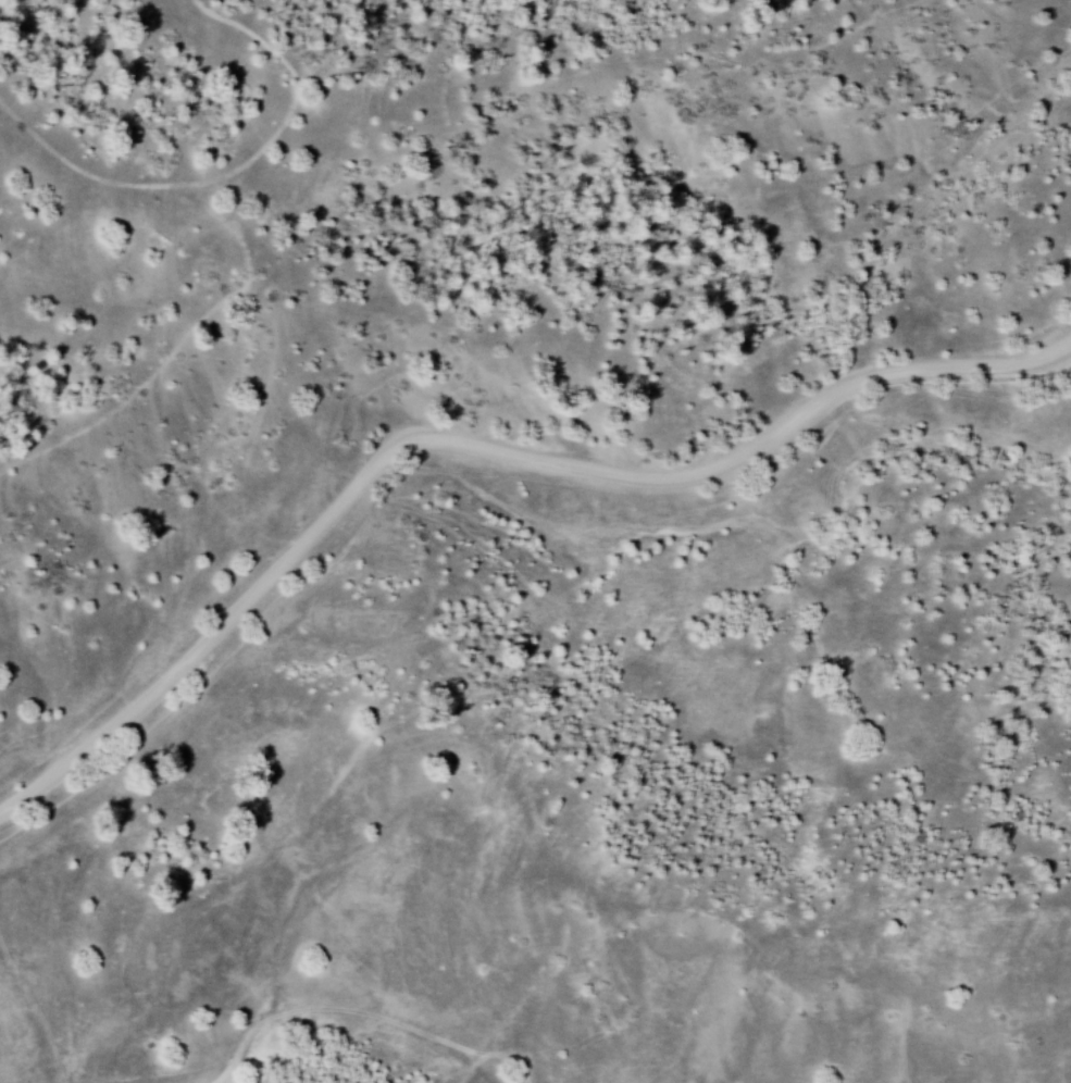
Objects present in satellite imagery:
road: (478, 440)

